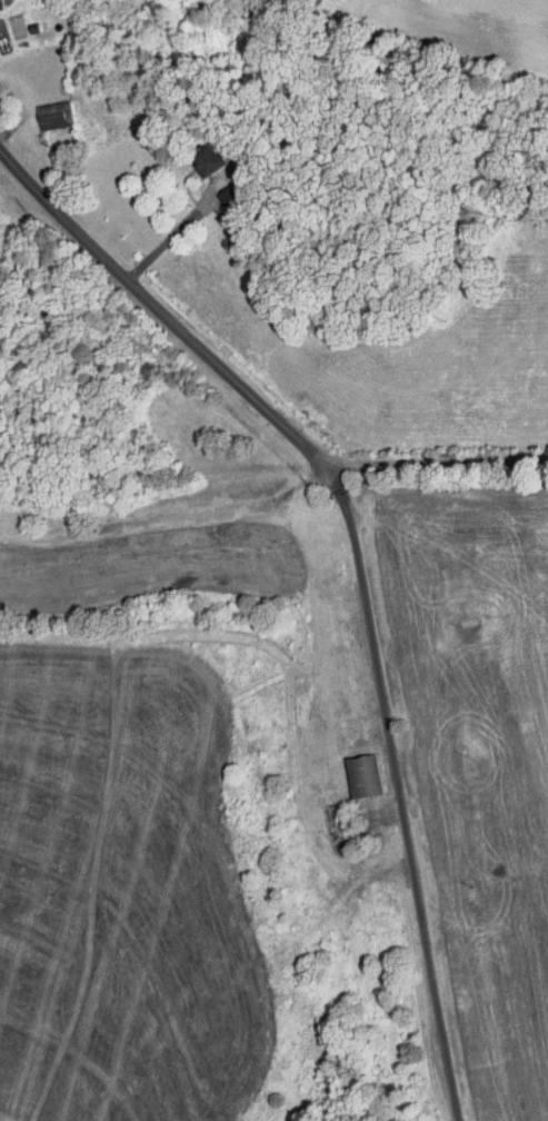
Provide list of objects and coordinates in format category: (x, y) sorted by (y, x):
building: (1, 3)
building: (54, 113)
building: (209, 158)
building: (229, 196)
road: (170, 228)
road: (439, 472)
road: (358, 566)
building: (362, 775)
road: (436, 844)
road: (383, 874)

